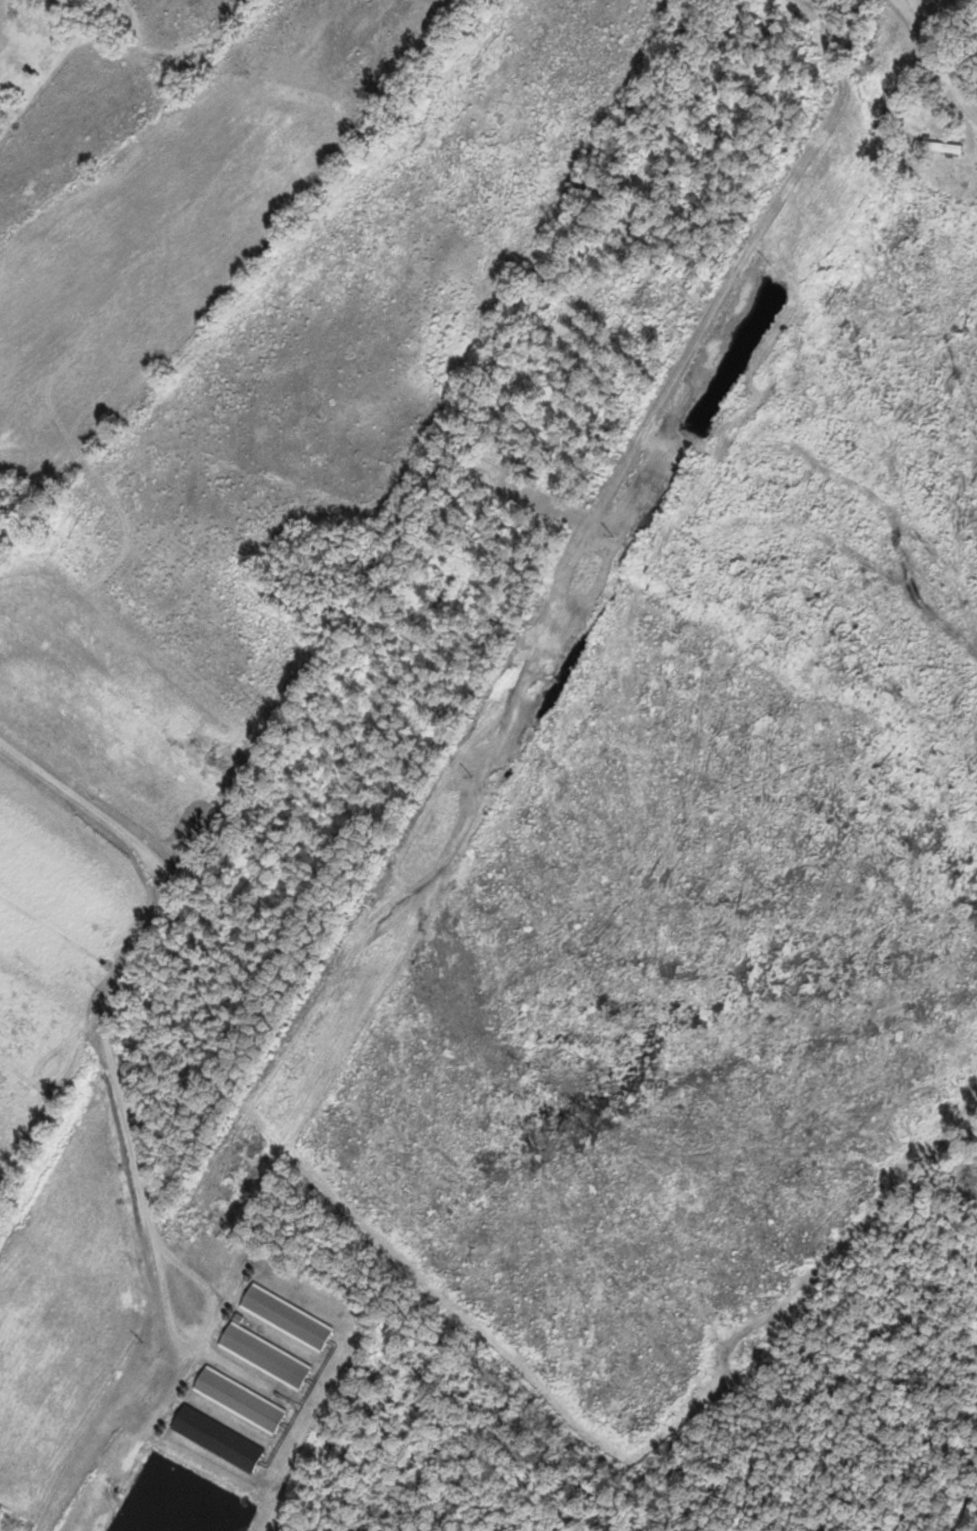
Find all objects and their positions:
road: (925, 27)
road: (206, 75)
building: (937, 147)
road: (128, 963)
building: (285, 1318)
building: (263, 1357)
building: (238, 1401)
building: (215, 1440)

